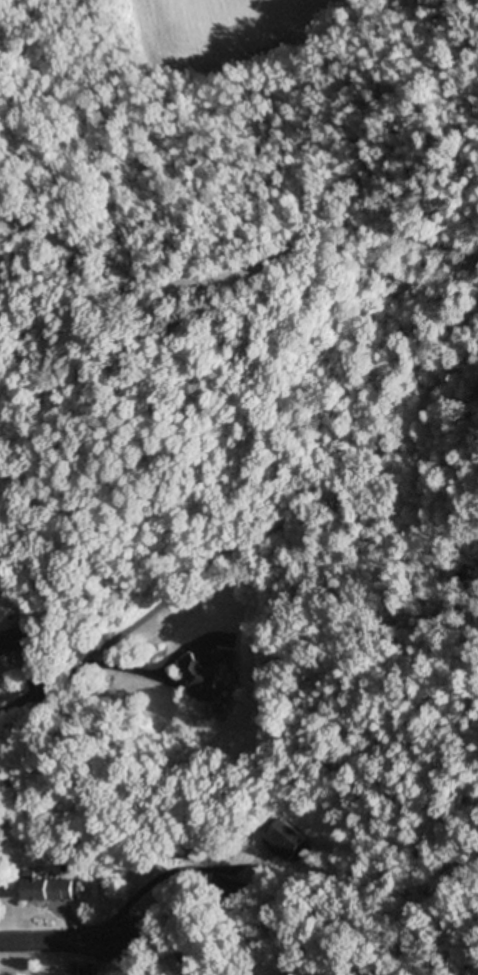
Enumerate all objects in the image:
building: (10, 643)
road: (96, 665)
building: (209, 673)
road: (18, 700)
building: (283, 837)
building: (50, 889)
road: (63, 941)

